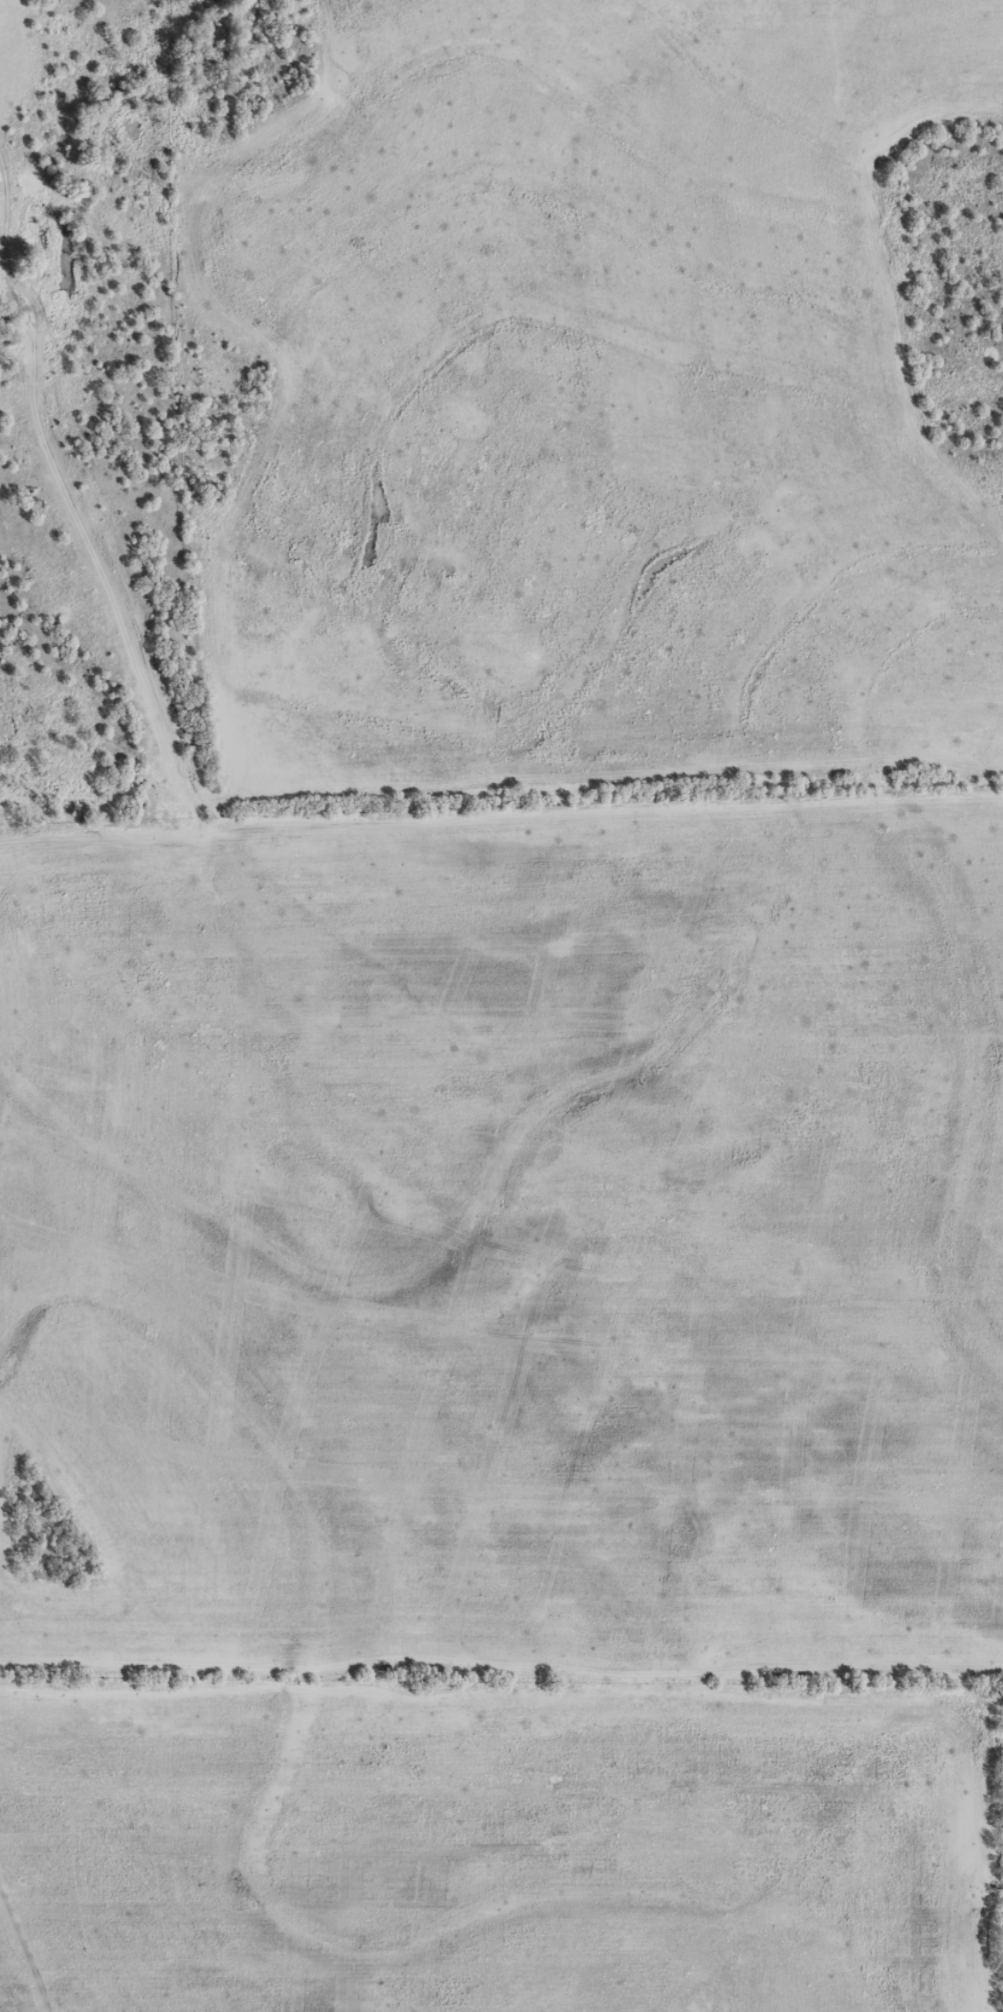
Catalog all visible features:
road: (114, 521)

